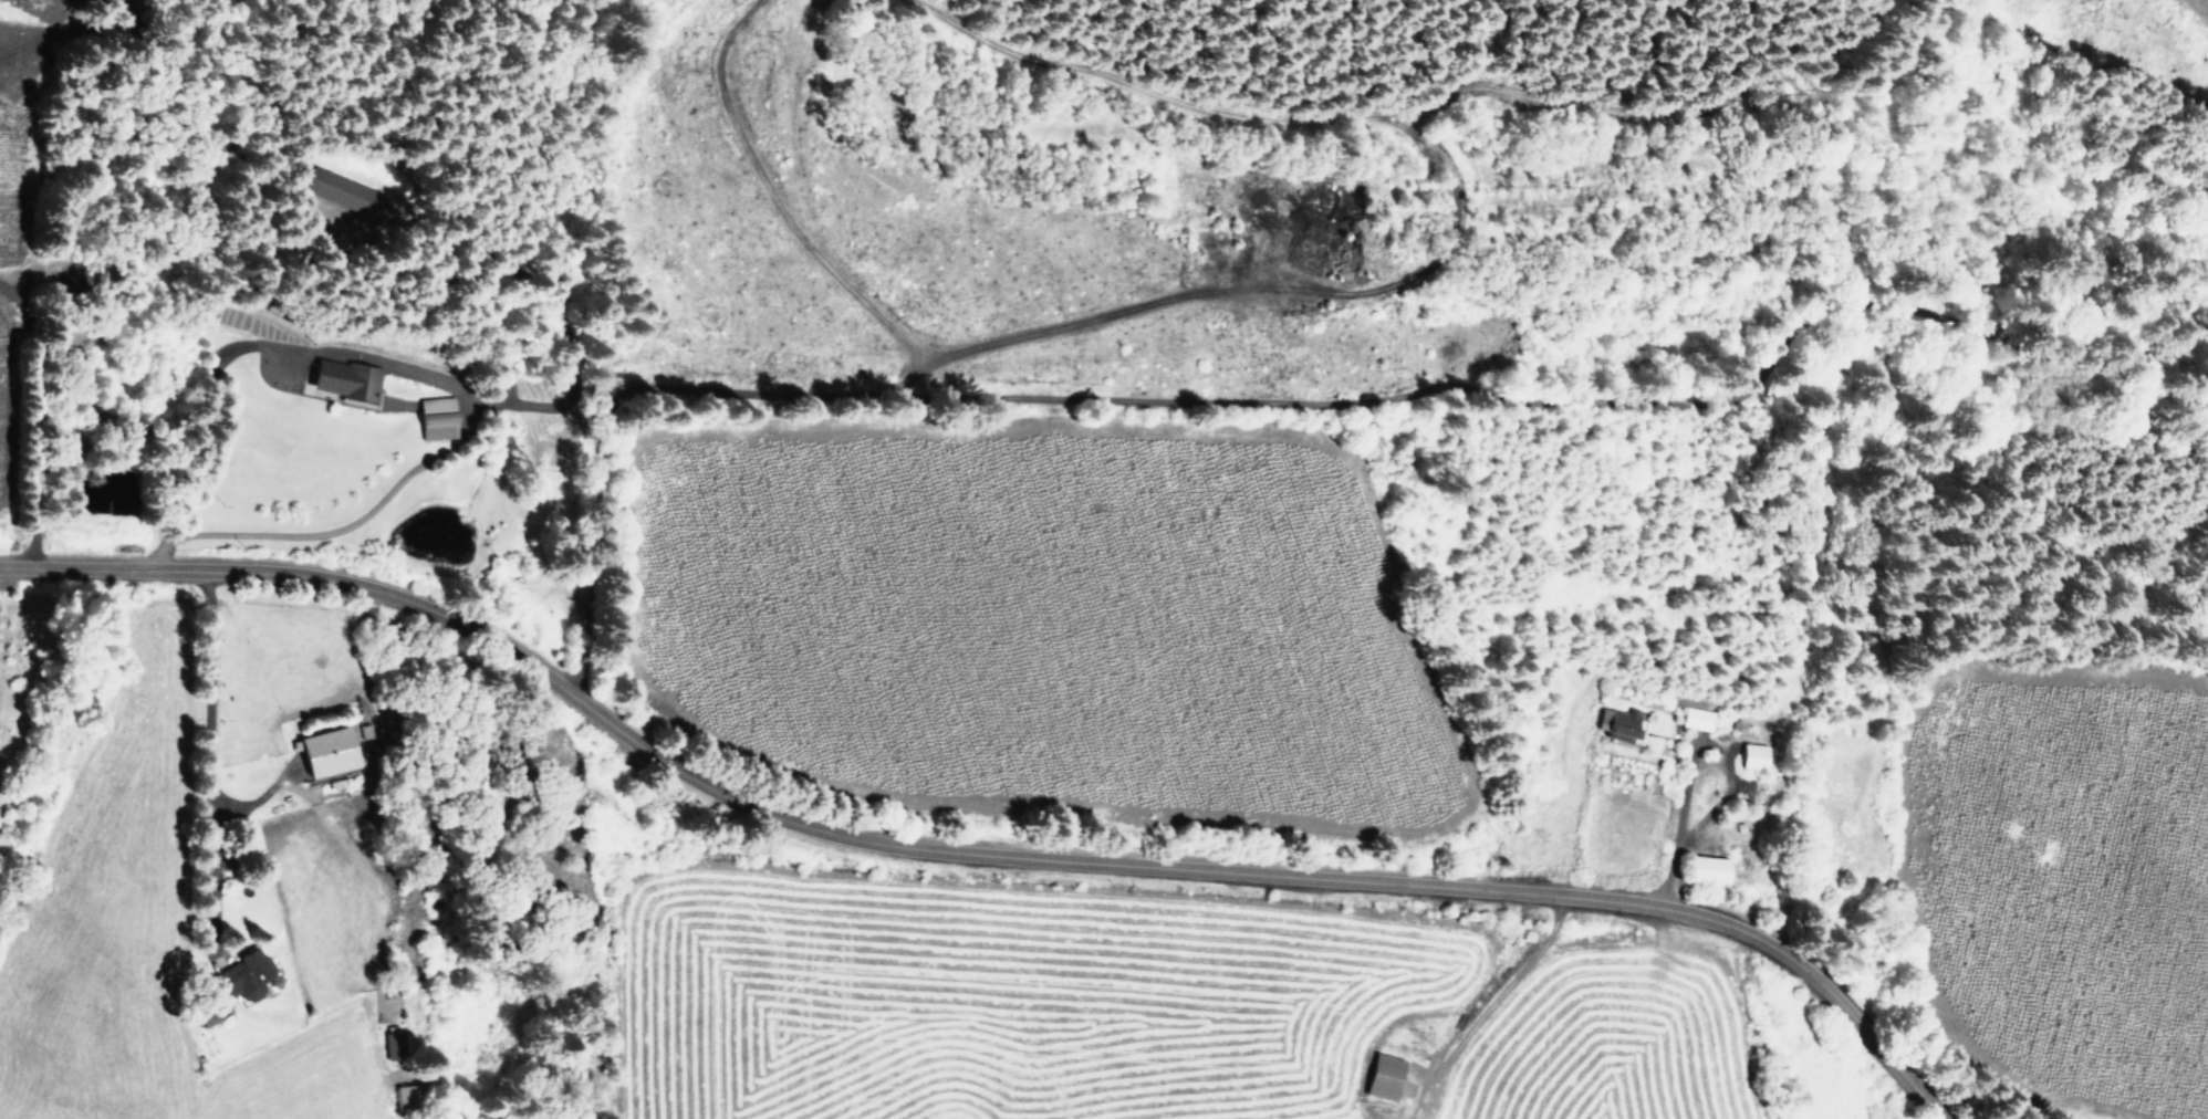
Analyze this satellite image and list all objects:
building: (341, 378)
road: (1269, 399)
building: (435, 417)
building: (1621, 724)
building: (322, 750)
building: (1751, 755)
road: (205, 764)
road: (1683, 775)
road: (975, 857)
building: (1704, 868)
building: (244, 979)
building: (393, 1042)
building: (1382, 1075)

